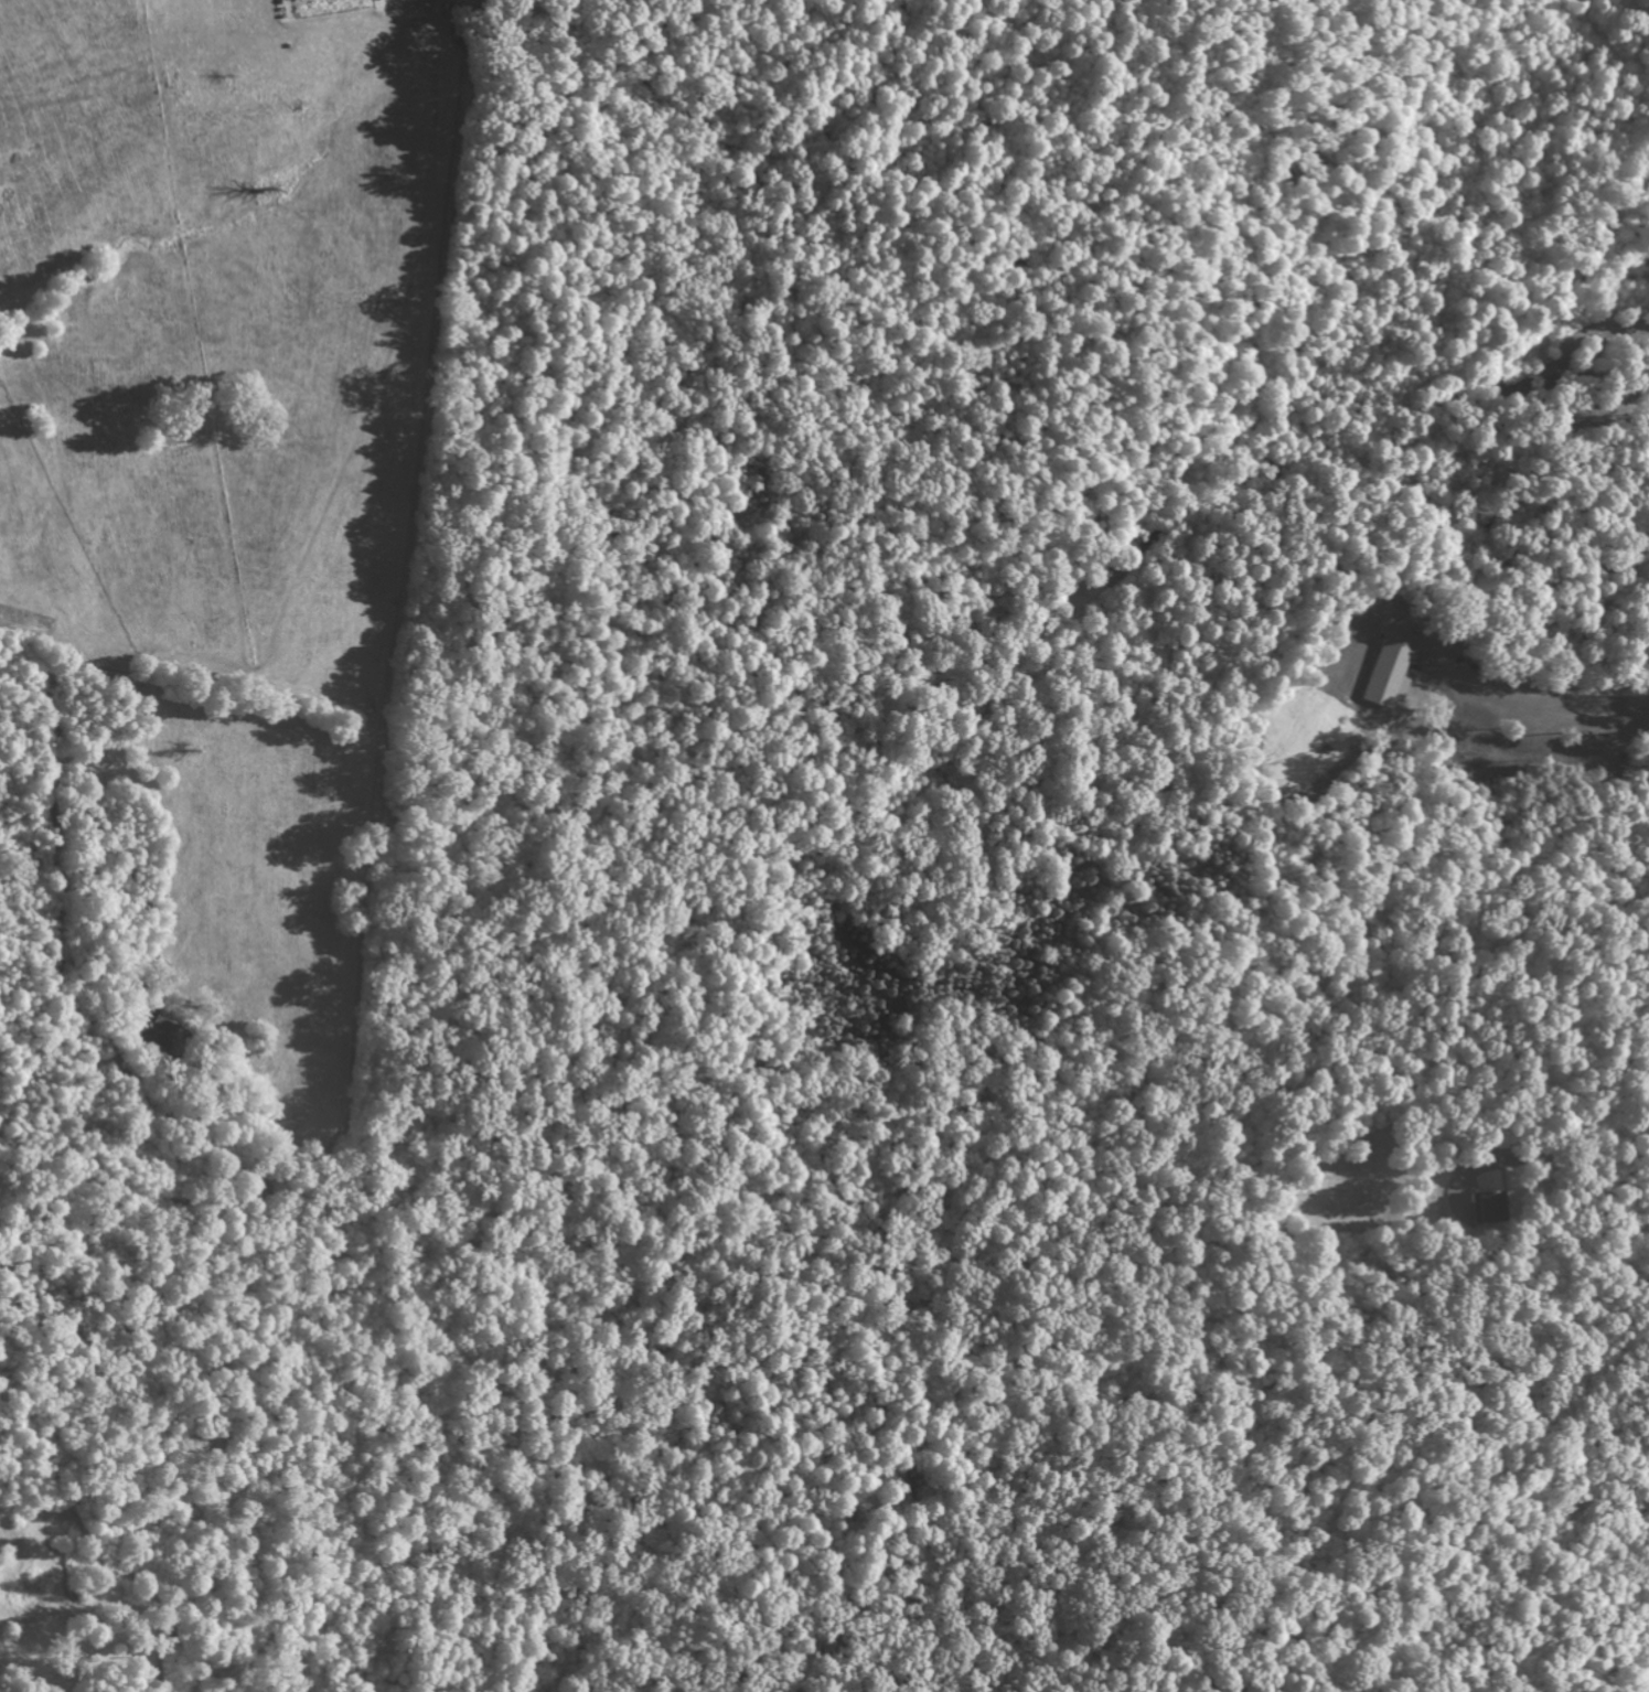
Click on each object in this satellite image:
building: (1389, 673)
building: (1487, 1204)
road: (1641, 1682)

